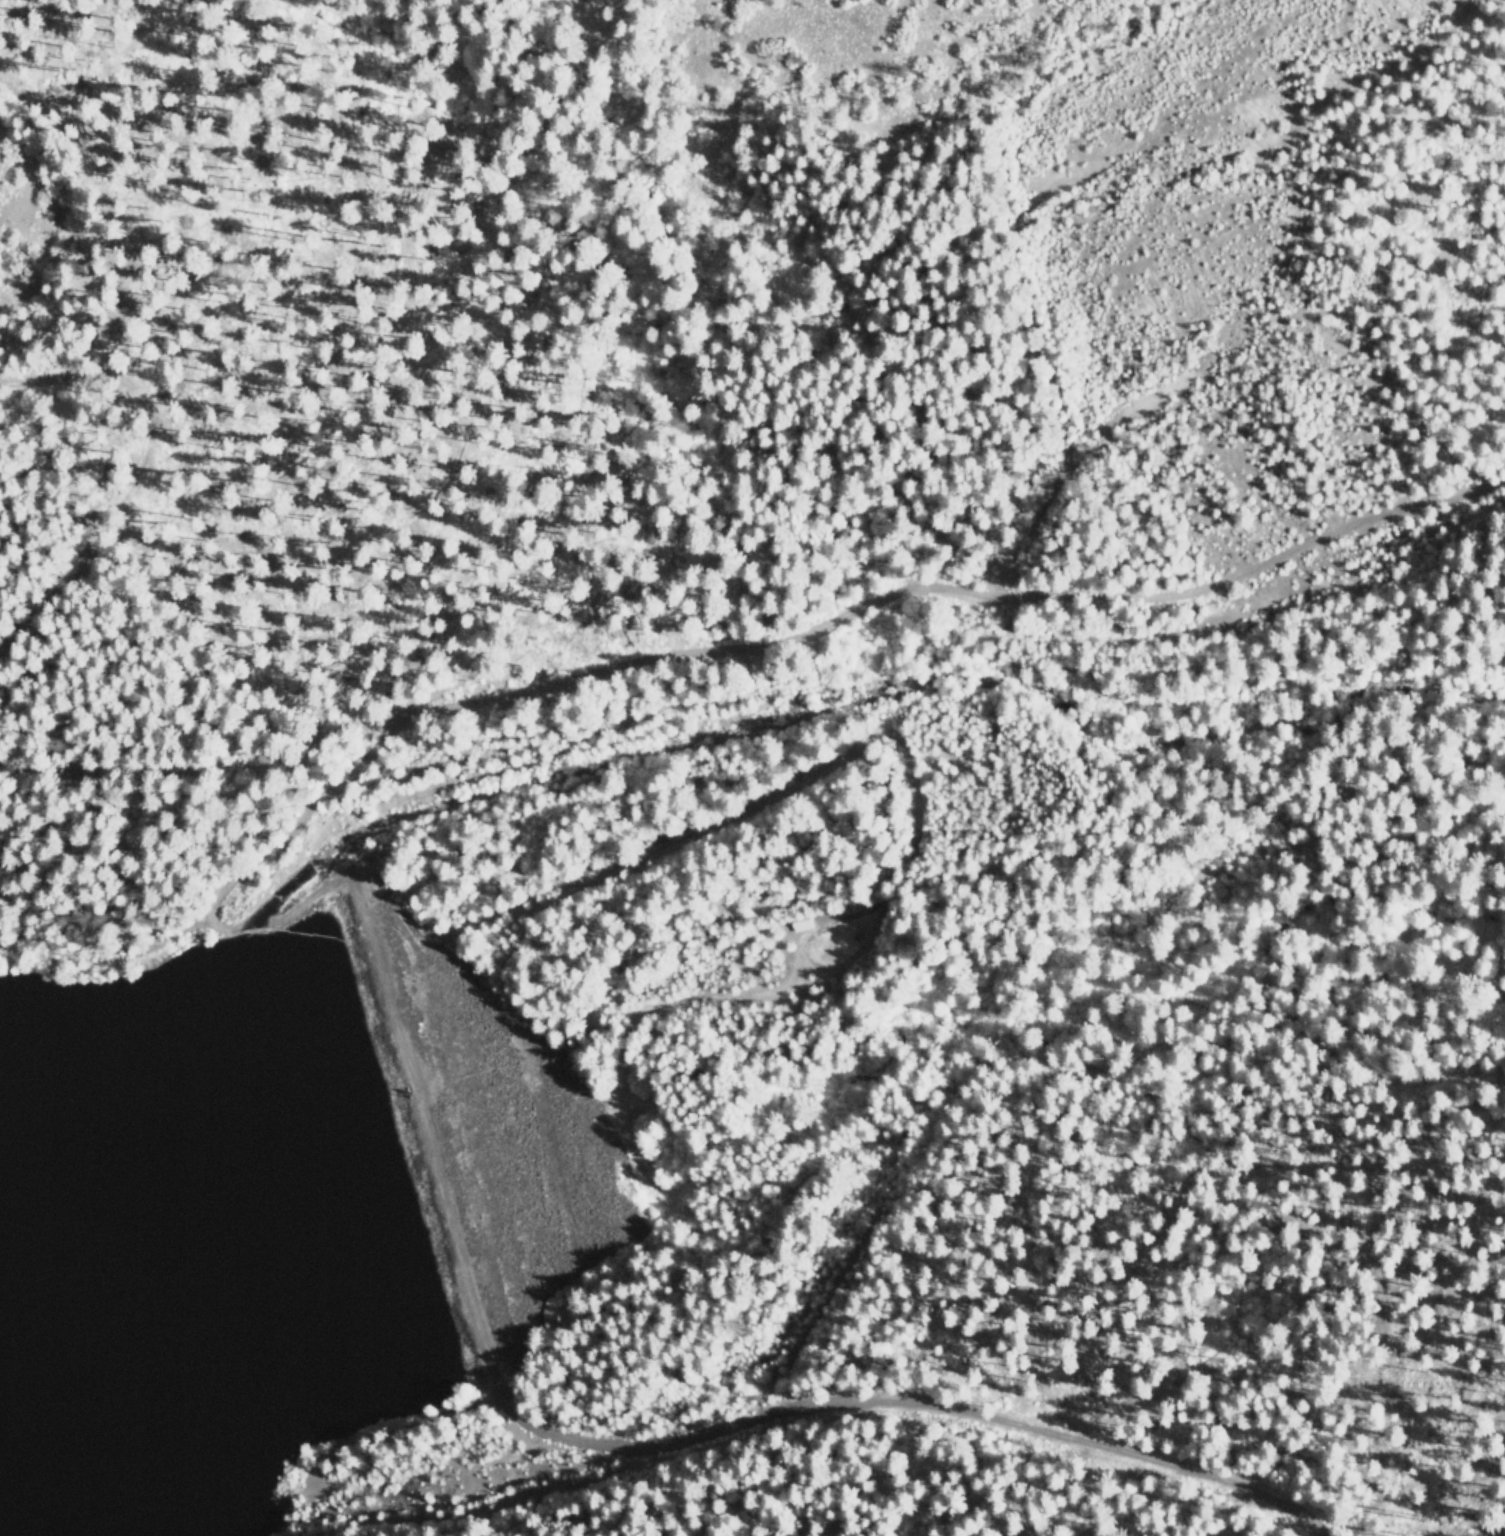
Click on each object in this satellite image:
road: (143, 457)
road: (560, 675)
road: (182, 762)
road: (108, 953)
dam: (482, 1138)
road: (650, 1444)

